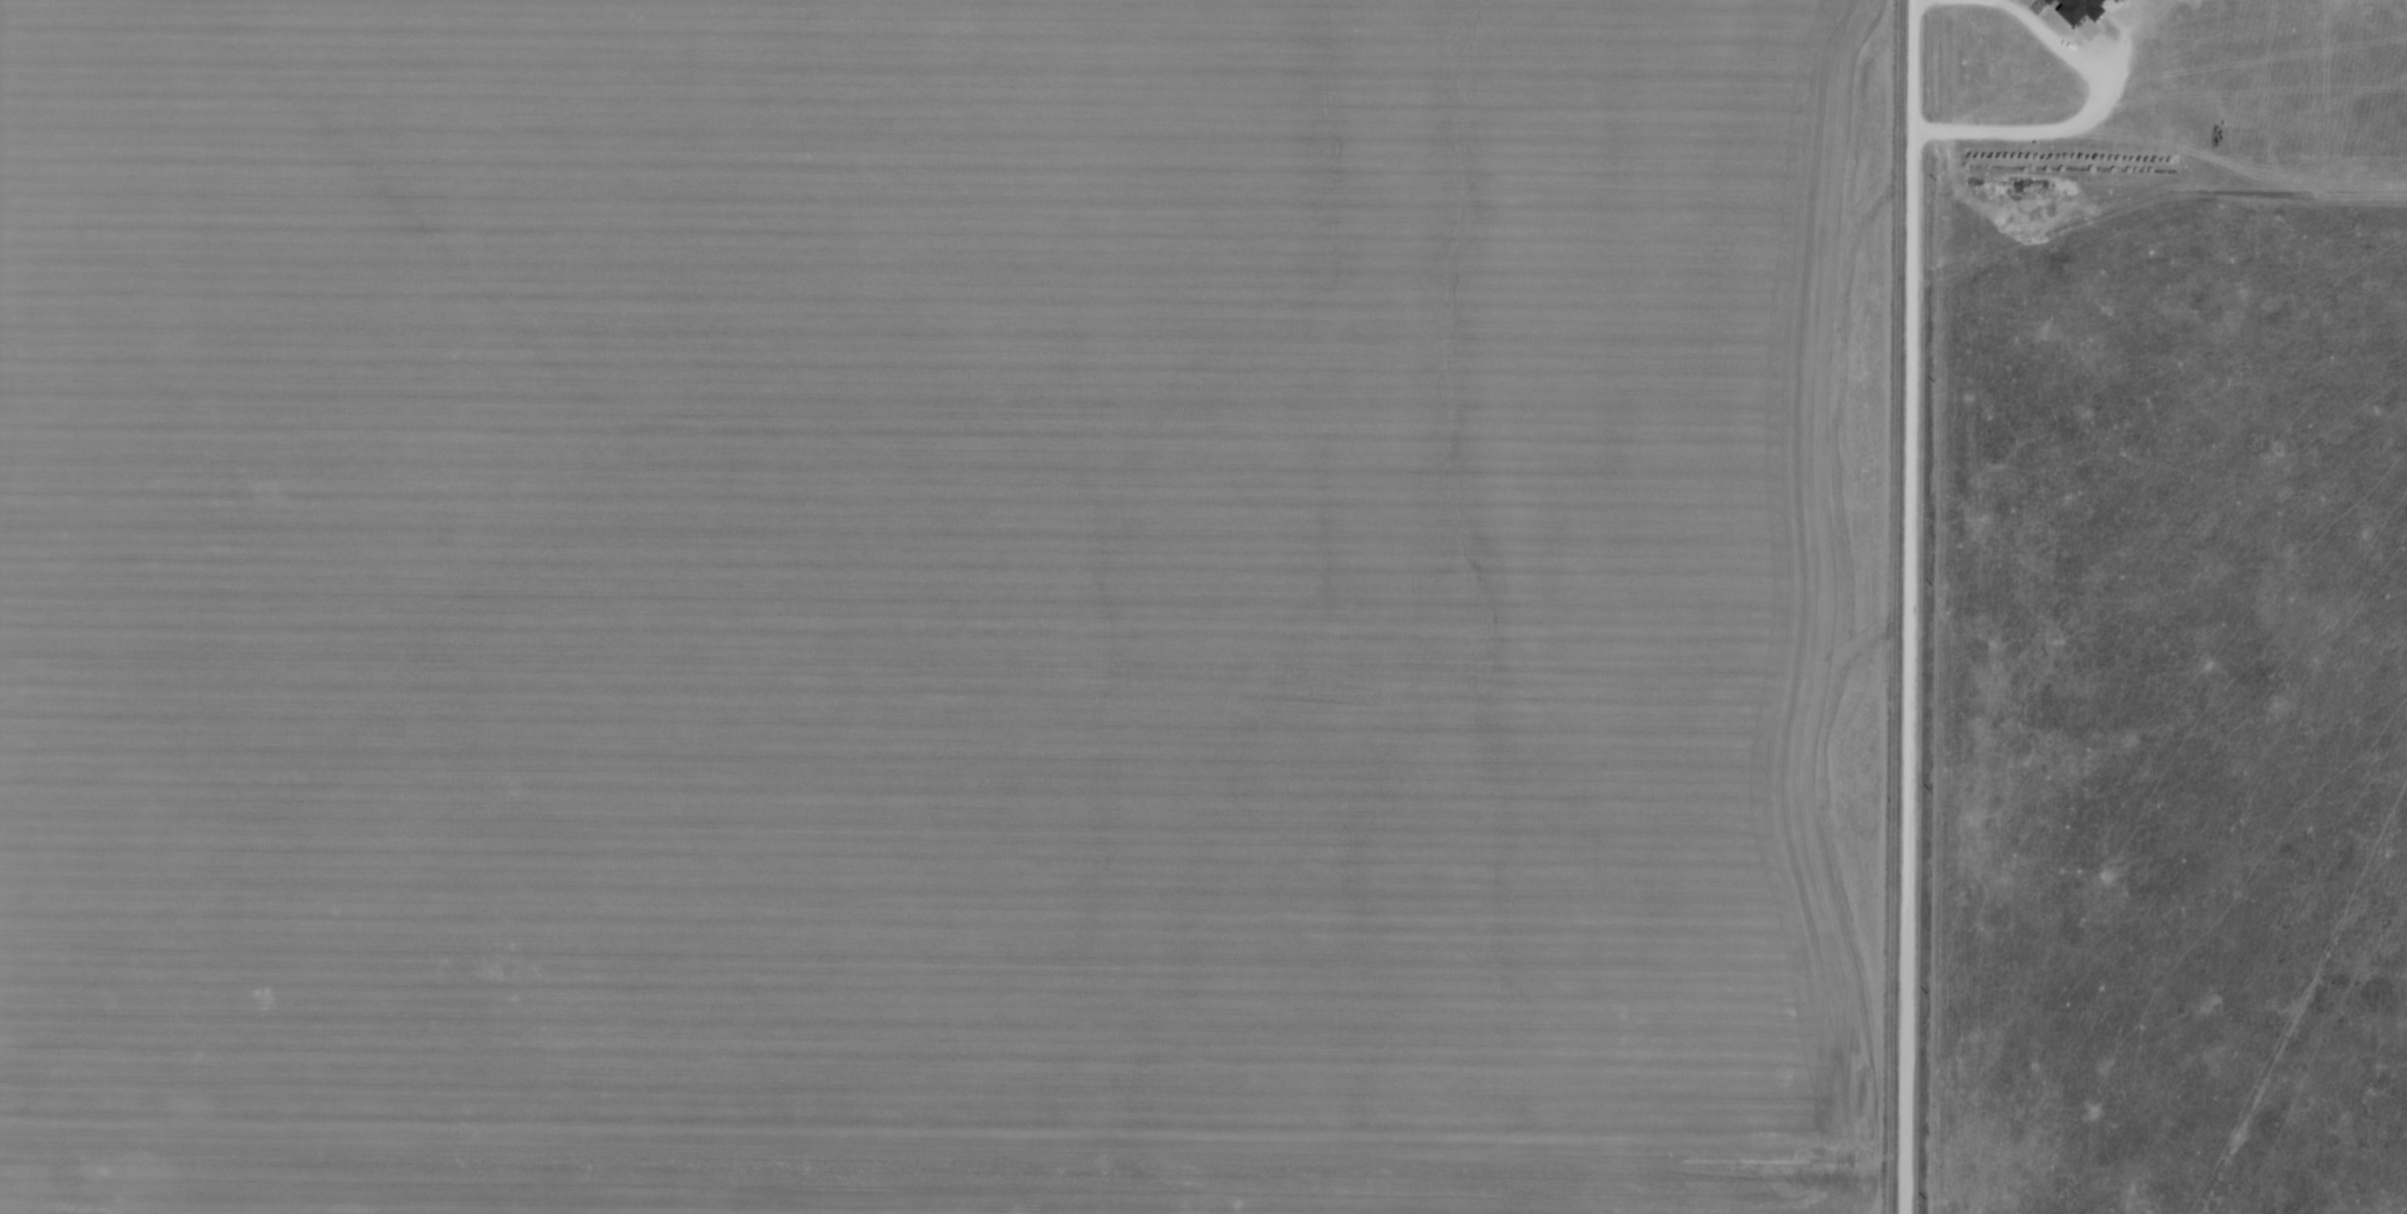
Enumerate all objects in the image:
road: (1912, 606)

